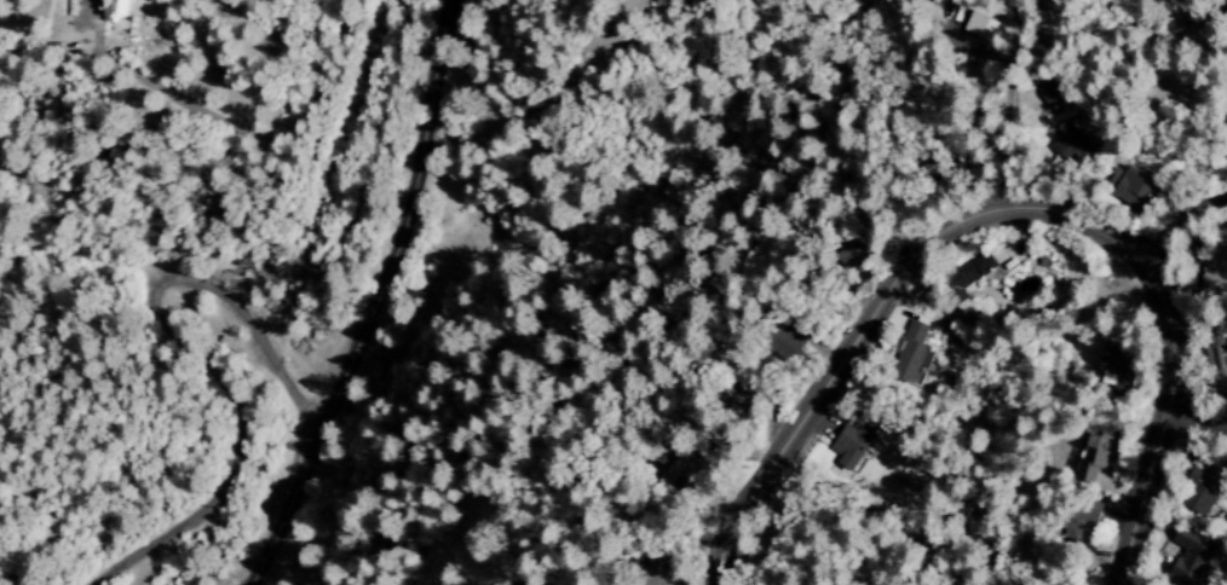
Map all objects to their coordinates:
building: (1073, 143)
road: (993, 155)
building: (1137, 190)
road: (1179, 222)
building: (1221, 263)
building: (975, 272)
road: (371, 300)
road: (874, 313)
building: (791, 348)
road: (198, 352)
building: (915, 353)
building: (1118, 363)
road: (1163, 418)
road: (1196, 424)
building: (853, 445)
building: (1096, 456)
building: (684, 469)
building: (1210, 492)
building: (1085, 527)
building: (1194, 555)
building: (668, 581)

